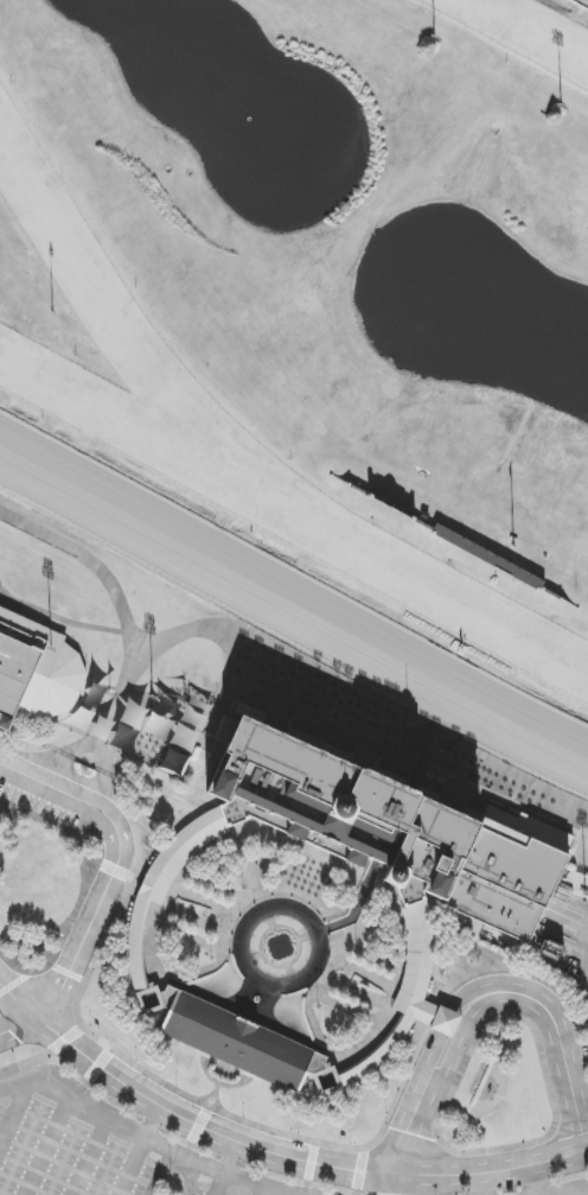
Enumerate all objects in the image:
track: (318, 326)
flagpole: (516, 542)
flagpole: (577, 593)
road: (60, 618)
road: (244, 625)
road: (126, 635)
road: (156, 654)
building: (107, 704)
parking lot: (39, 805)
road: (68, 828)
building: (395, 828)
road: (116, 867)
road: (115, 870)
road: (270, 917)
road: (70, 923)
road: (264, 936)
road: (308, 936)
fountain: (281, 946)
building: (418, 949)
road: (253, 956)
road: (13, 965)
road: (68, 973)
road: (292, 973)
road: (15, 984)
road: (579, 986)
road: (448, 989)
road: (78, 996)
road: (494, 1002)
building: (446, 1021)
road: (18, 1026)
road: (439, 1036)
road: (66, 1038)
road: (25, 1062)
road: (98, 1064)
road: (218, 1083)
road: (505, 1086)
road: (217, 1089)
road: (73, 1093)
road: (207, 1097)
road: (196, 1098)
road: (209, 1106)
road: (224, 1110)
road: (14, 1112)
parking lot: (2, 1113)
road: (183, 1118)
road: (557, 1119)
road: (153, 1123)
road: (199, 1125)
road: (450, 1132)
road: (75, 1134)
road: (49, 1144)
parking lot: (24, 1146)
parking lot: (101, 1146)
road: (90, 1155)
road: (85, 1157)
road: (184, 1157)
road: (232, 1158)
parking lot: (64, 1161)
road: (312, 1162)
road: (172, 1164)
road: (133, 1165)
road: (70, 1168)
parking lot: (107, 1169)
road: (360, 1169)
road: (497, 1170)
road: (46, 1175)
parking lot: (143, 1176)
road: (532, 1180)
road: (24, 1183)
road: (308, 1183)
road: (485, 1183)
road: (220, 1184)
road: (261, 1186)
road: (402, 1186)
parking lot: (202, 1188)
road: (263, 1190)
building: (510, 1190)
road: (570, 1190)
road: (579, 1191)
road: (4, 1193)
road: (357, 1193)
parking lot: (586, 1194)

